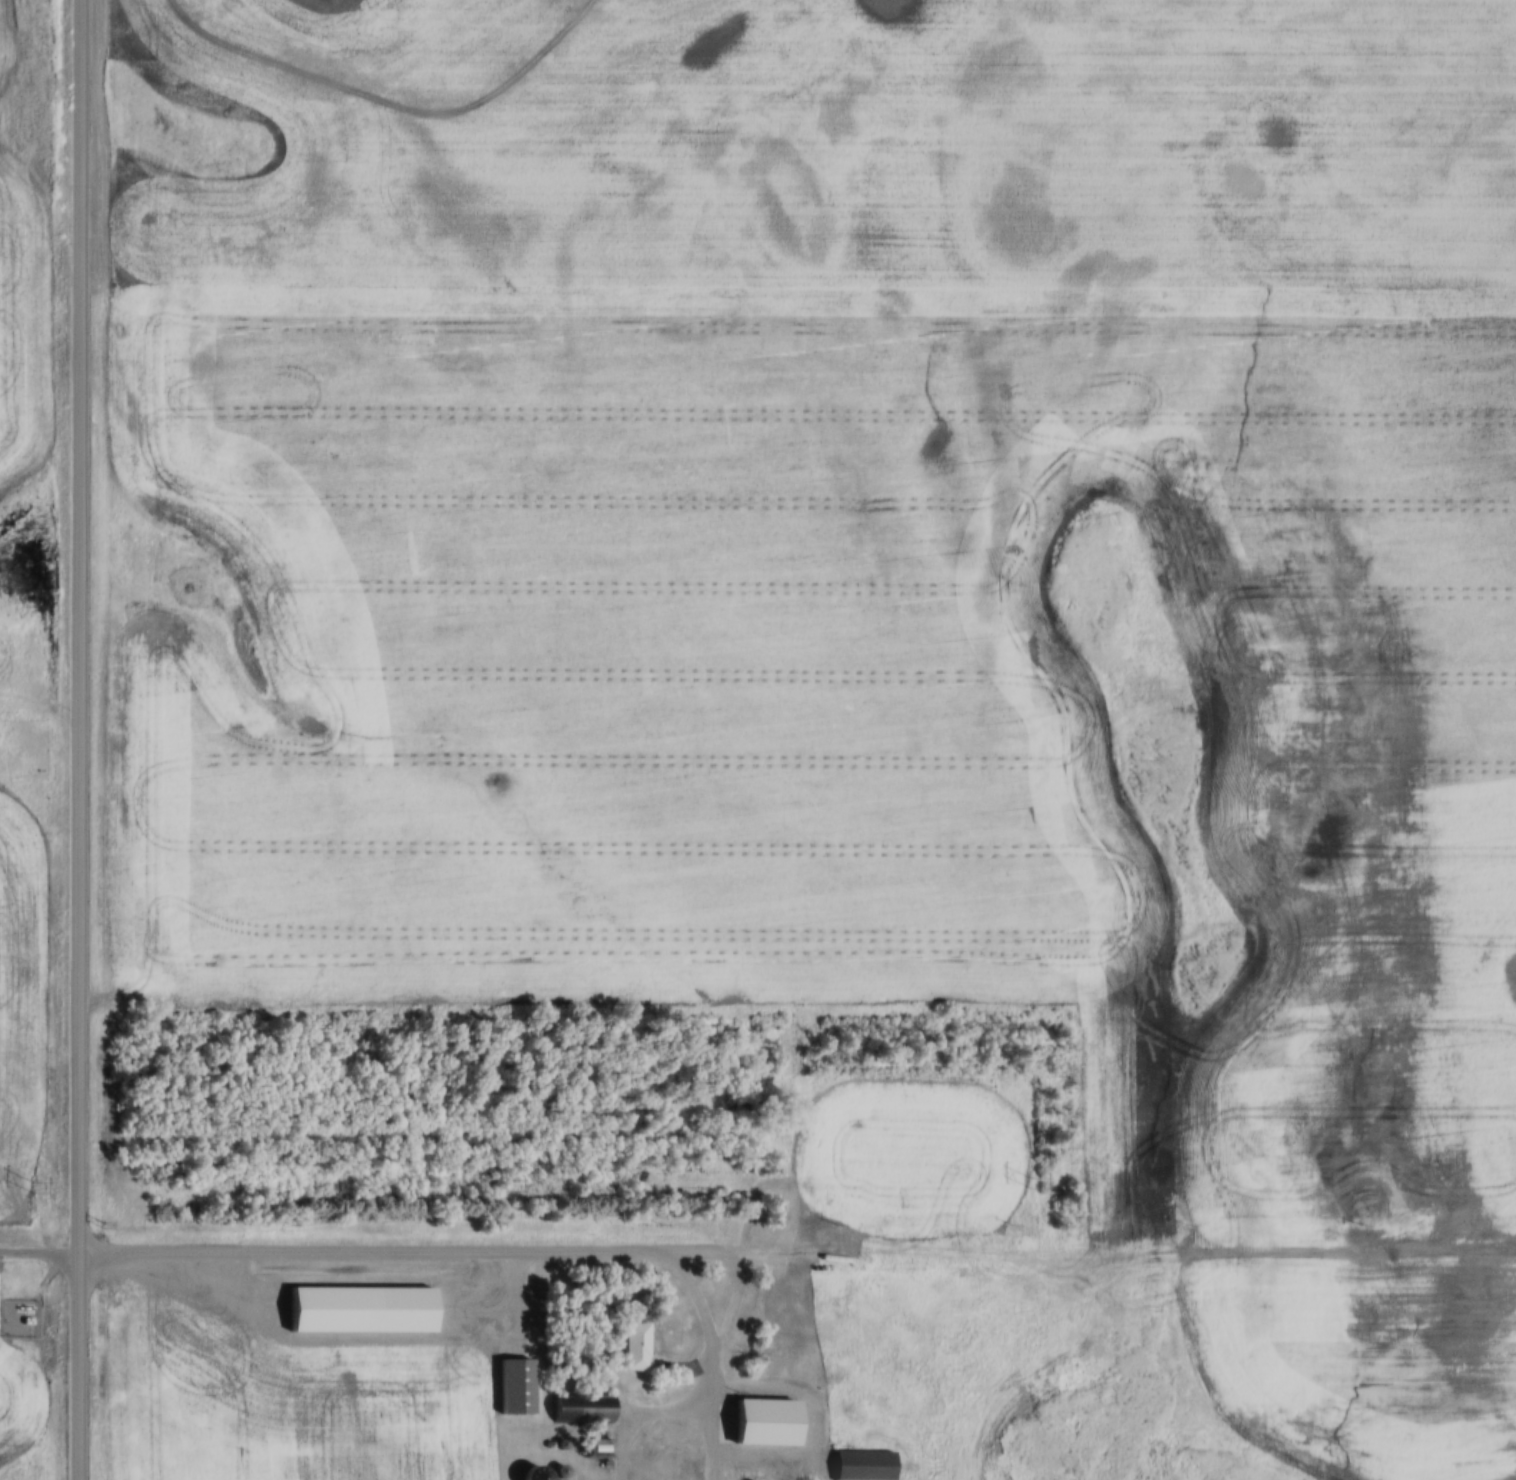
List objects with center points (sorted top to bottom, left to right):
road: (78, 740)
road: (359, 1252)
building: (637, 1347)
building: (797, 1364)
building: (516, 1388)
building: (583, 1409)
building: (598, 1449)
building: (863, 1465)
building: (535, 1473)

